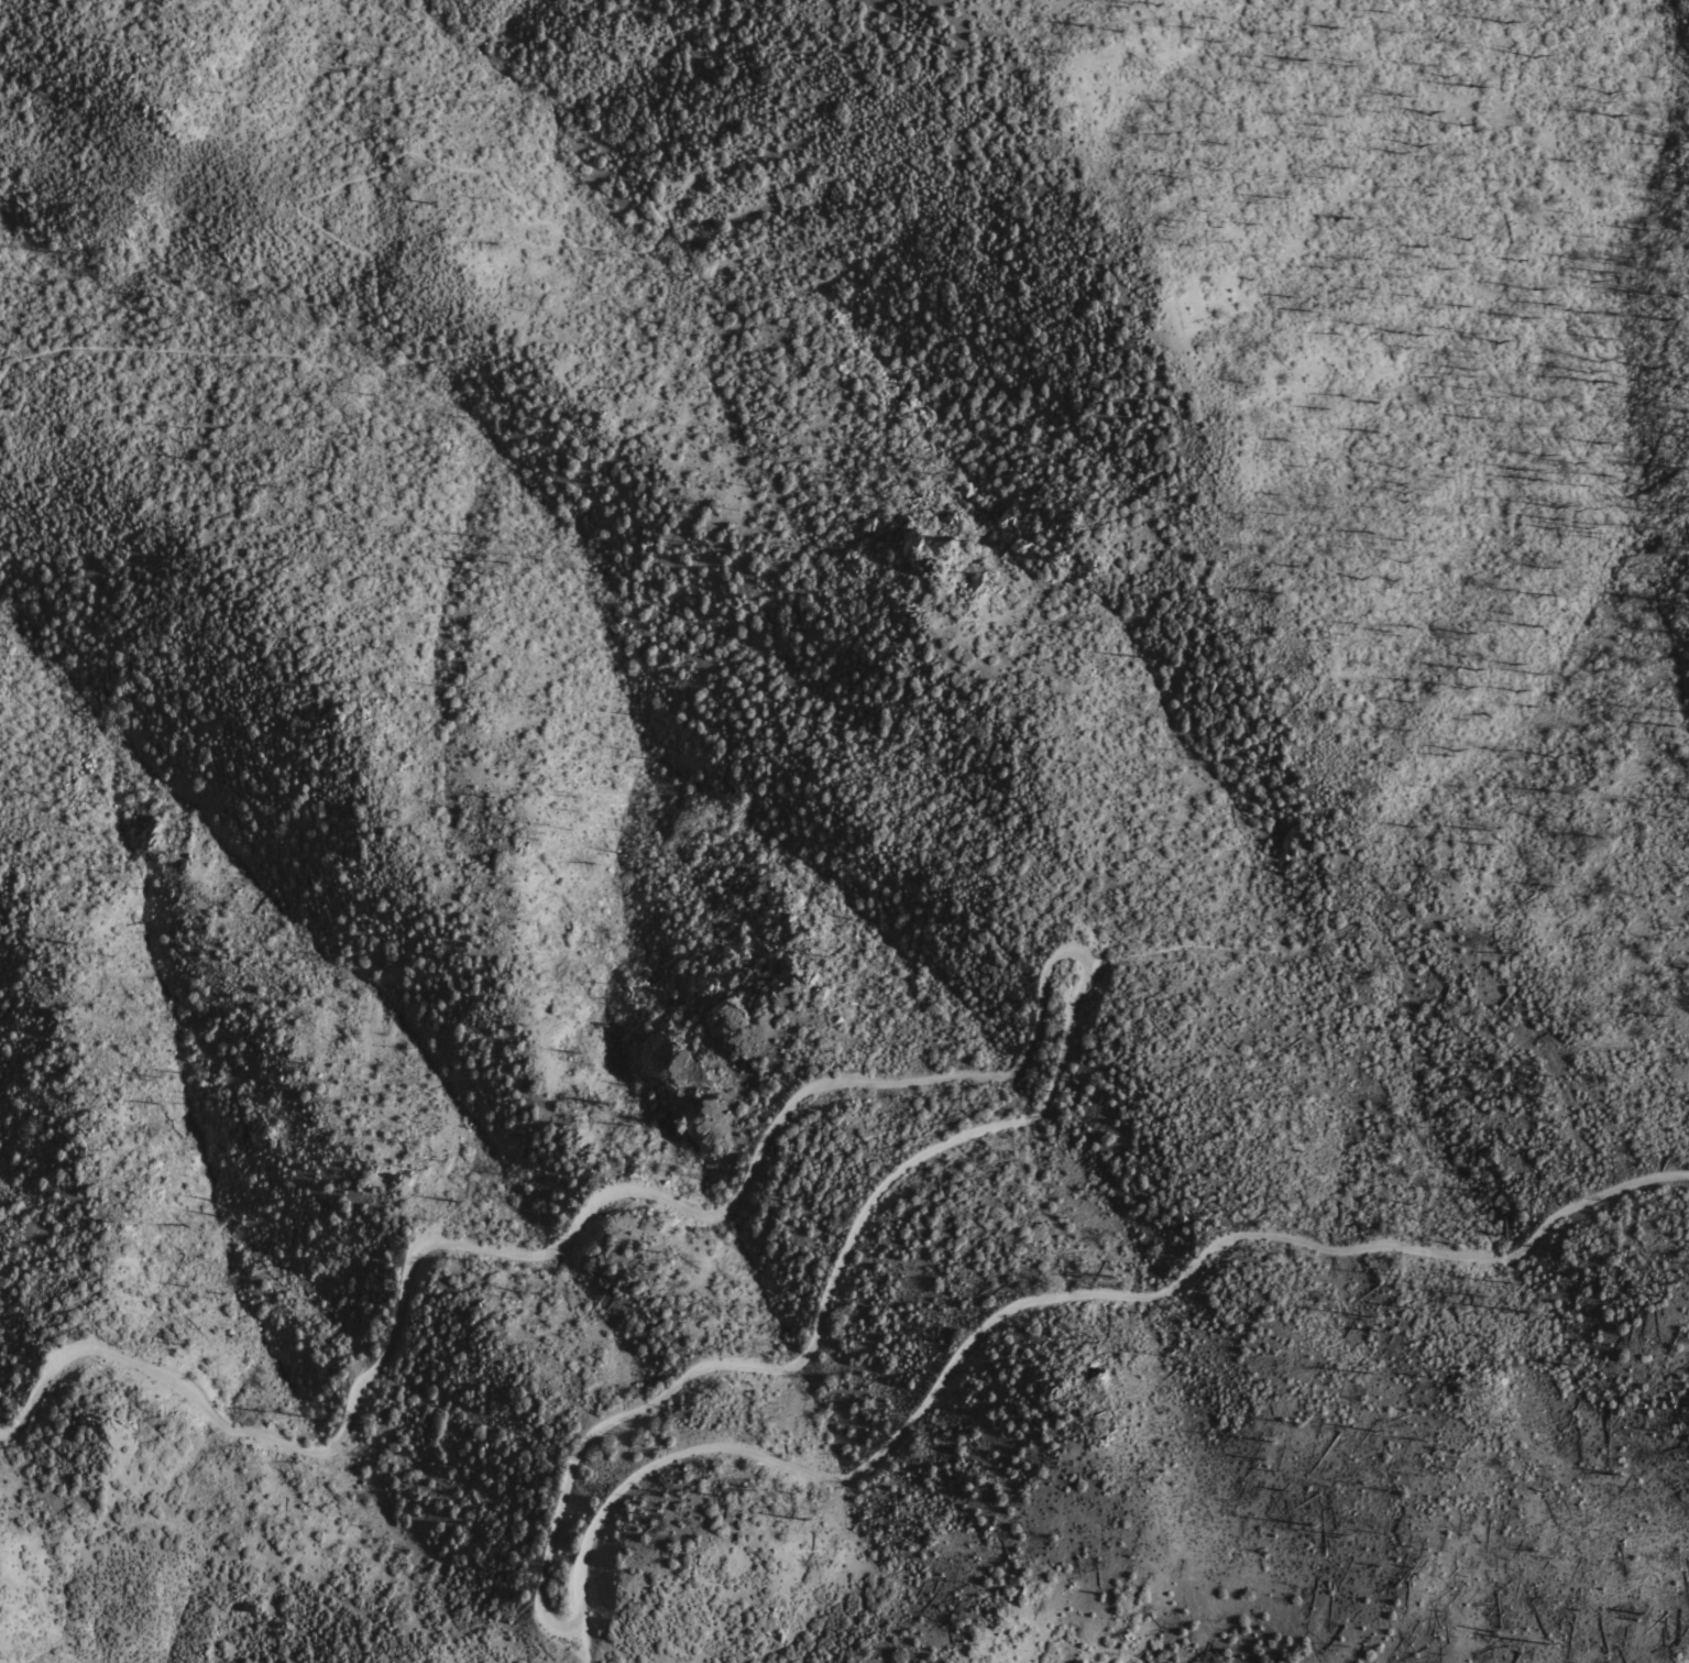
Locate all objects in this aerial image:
road: (300, 204)
road: (1437, 280)
road: (840, 1271)

